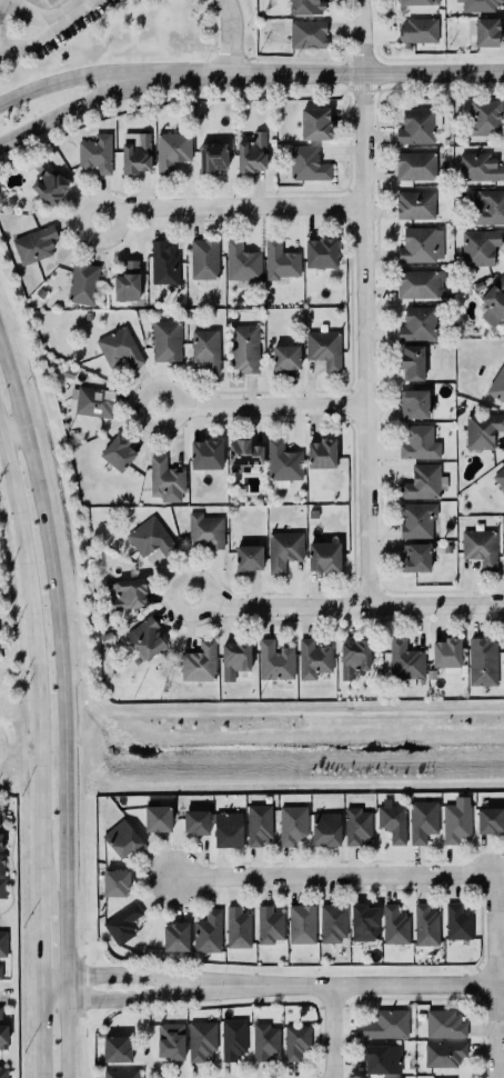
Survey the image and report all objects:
building: (52, 0)
building: (44, 1)
building: (419, 2)
building: (302, 4)
building: (477, 4)
road: (65, 14)
road: (46, 29)
building: (417, 30)
building: (305, 31)
building: (486, 32)
road: (359, 36)
road: (229, 38)
road: (321, 73)
road: (68, 80)
road: (67, 104)
building: (484, 118)
building: (314, 123)
building: (415, 127)
building: (169, 150)
building: (131, 151)
building: (93, 152)
building: (249, 153)
building: (210, 157)
building: (310, 163)
building: (415, 166)
building: (478, 167)
building: (46, 182)
building: (414, 204)
building: (487, 207)
road: (230, 208)
building: (33, 242)
building: (421, 244)
building: (478, 247)
building: (321, 251)
building: (201, 259)
building: (279, 259)
building: (239, 261)
building: (161, 262)
building: (127, 280)
building: (420, 283)
building: (81, 285)
building: (477, 285)
building: (37, 292)
building: (493, 301)
building: (417, 323)
road: (362, 338)
building: (165, 340)
building: (119, 348)
building: (243, 348)
building: (324, 348)
building: (205, 349)
building: (285, 356)
building: (412, 361)
building: (497, 383)
building: (94, 401)
building: (413, 402)
road: (261, 407)
road: (14, 428)
building: (482, 430)
building: (419, 442)
building: (118, 452)
building: (322, 452)
building: (205, 453)
building: (243, 453)
building: (282, 461)
building: (500, 476)
building: (164, 479)
building: (422, 482)
building: (503, 495)
building: (311, 498)
building: (313, 513)
building: (416, 520)
building: (204, 531)
building: (150, 537)
building: (480, 547)
building: (447, 548)
building: (283, 549)
building: (323, 556)
building: (415, 557)
building: (248, 558)
building: (127, 595)
road: (357, 606)
road: (202, 612)
building: (144, 638)
building: (446, 652)
building: (353, 657)
building: (234, 658)
building: (313, 658)
building: (274, 660)
building: (404, 660)
building: (482, 661)
road: (36, 662)
building: (199, 662)
road: (94, 700)
road: (63, 702)
road: (310, 713)
road: (3, 729)
road: (90, 740)
park: (292, 747)
road: (9, 755)
road: (367, 779)
road: (168, 781)
building: (2, 817)
building: (158, 818)
building: (490, 819)
building: (422, 820)
building: (195, 821)
building: (392, 821)
building: (455, 822)
building: (258, 824)
building: (292, 824)
building: (356, 825)
building: (228, 829)
building: (325, 829)
building: (122, 838)
building: (0, 841)
road: (10, 864)
building: (1, 865)
road: (333, 876)
building: (115, 882)
building: (2, 886)
building: (332, 922)
building: (364, 922)
building: (457, 922)
building: (121, 924)
building: (301, 924)
building: (269, 925)
building: (394, 926)
building: (425, 926)
building: (238, 927)
building: (206, 932)
building: (175, 937)
building: (3, 944)
road: (39, 944)
building: (0, 972)
road: (495, 976)
road: (155, 977)
road: (387, 986)
road: (155, 996)
road: (3, 997)
building: (0, 1014)
building: (386, 1024)
building: (444, 1024)
road: (332, 1031)
road: (41, 1032)
building: (2, 1035)
building: (232, 1038)
building: (170, 1039)
building: (201, 1039)
building: (295, 1040)
building: (264, 1041)
building: (115, 1048)
building: (443, 1052)
building: (381, 1058)
building: (3, 1072)
building: (121, 1074)
building: (393, 1077)

